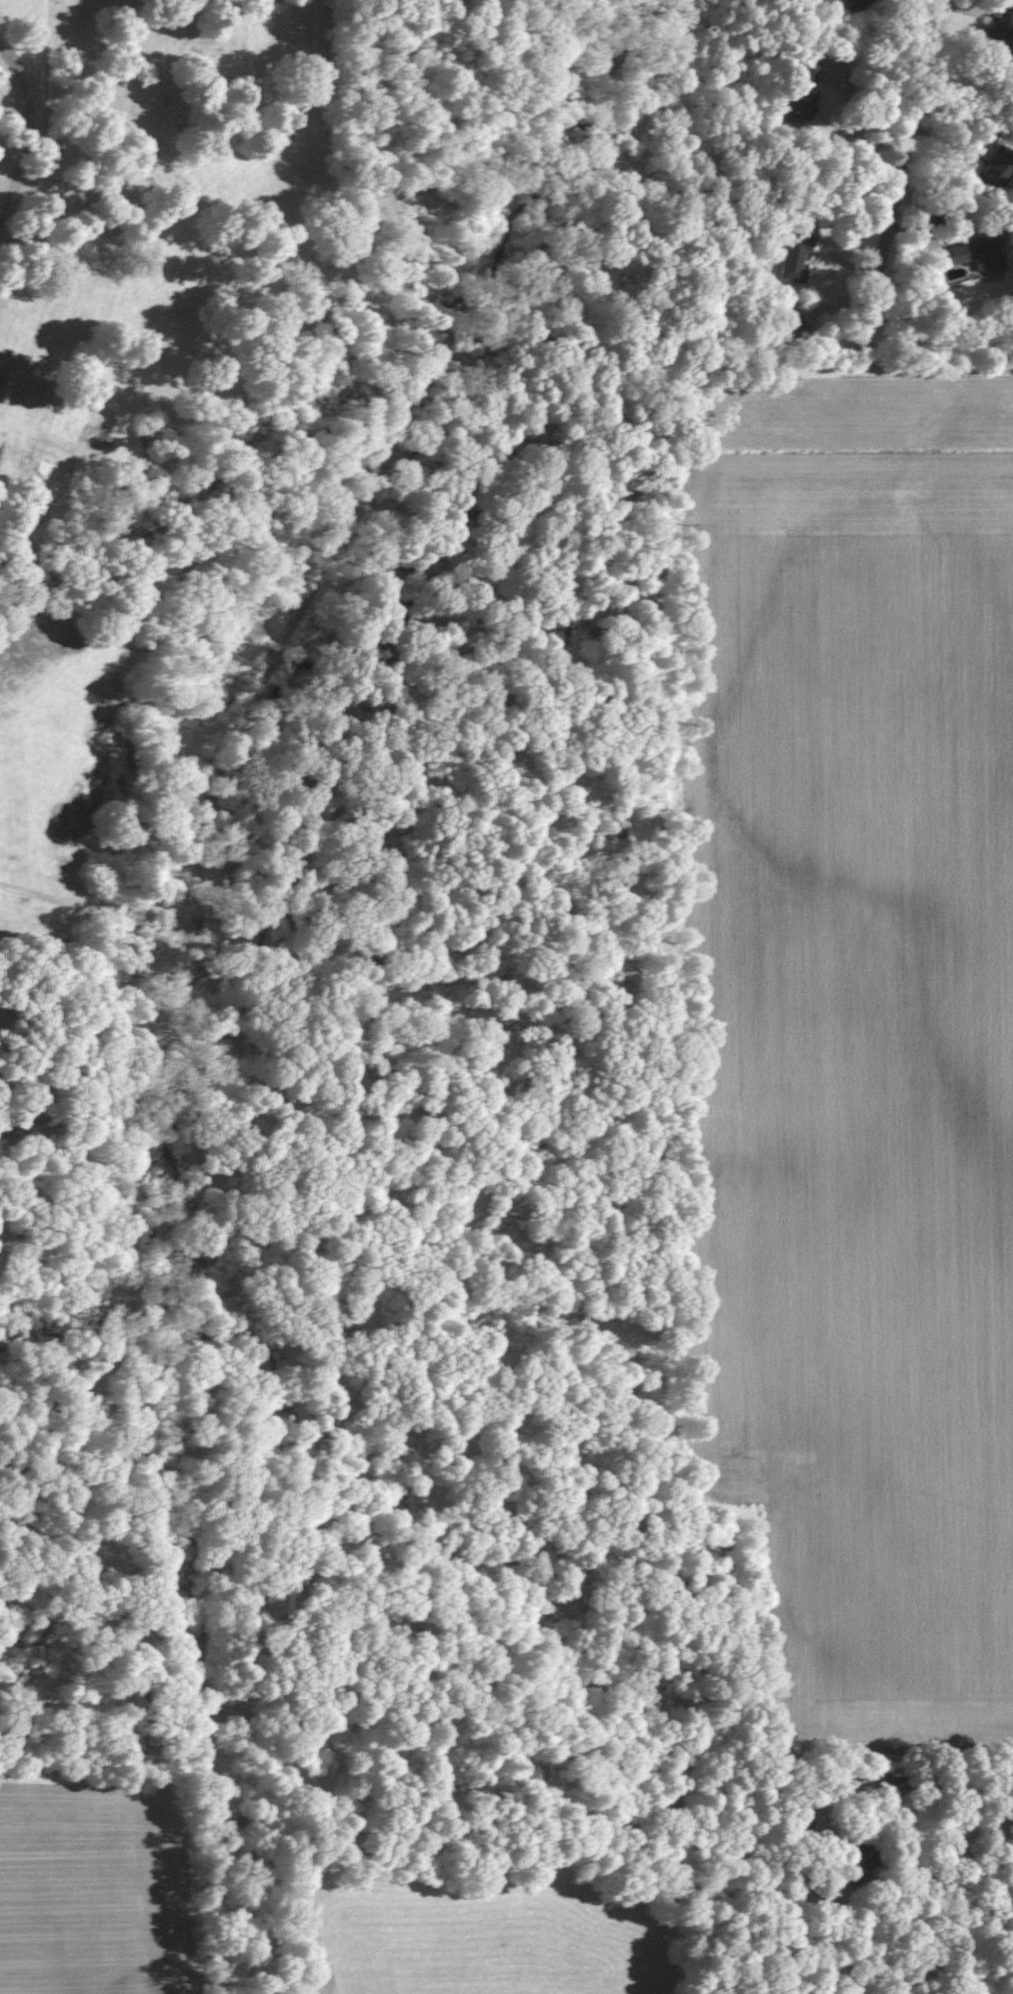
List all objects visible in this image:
building: (852, 4)
building: (999, 26)
building: (798, 94)
building: (993, 168)
road: (900, 238)
building: (970, 256)
building: (792, 257)
building: (792, 324)

